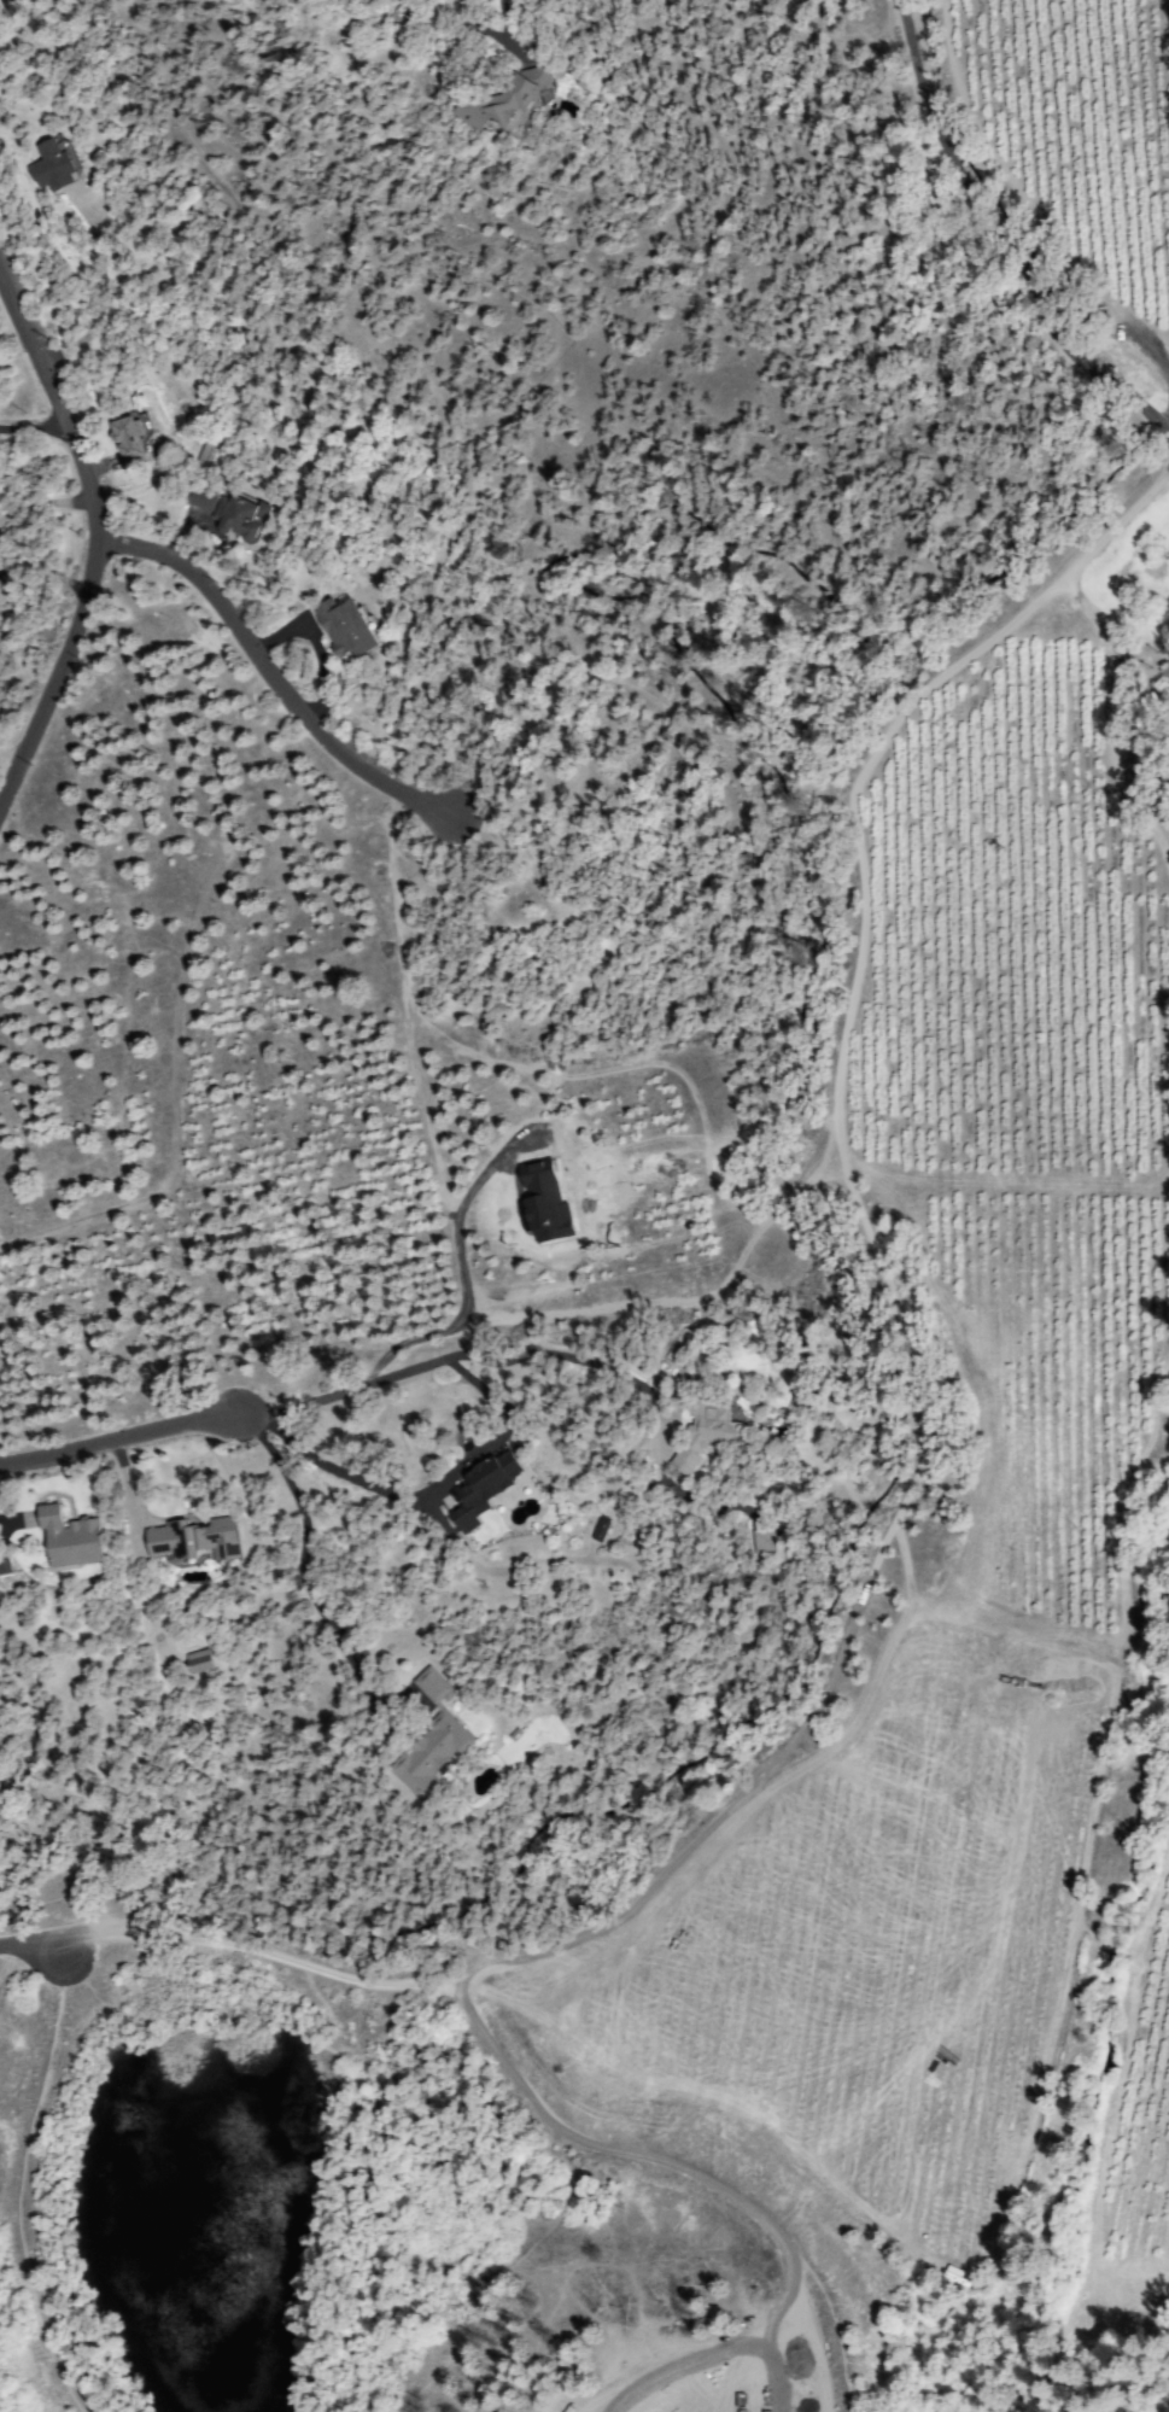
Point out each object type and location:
building: (509, 99)
road: (941, 147)
building: (57, 165)
building: (1099, 323)
road: (1092, 364)
road: (60, 409)
building: (133, 442)
building: (215, 460)
building: (203, 498)
building: (244, 518)
road: (187, 582)
building: (4, 590)
building: (351, 630)
road: (55, 681)
road: (334, 759)
building: (538, 1179)
road: (935, 1287)
building: (707, 1433)
road: (116, 1442)
building: (486, 1488)
building: (602, 1529)
building: (72, 1540)
building: (766, 1540)
building: (197, 1542)
building: (200, 1661)
building: (432, 1686)
building: (432, 1756)

